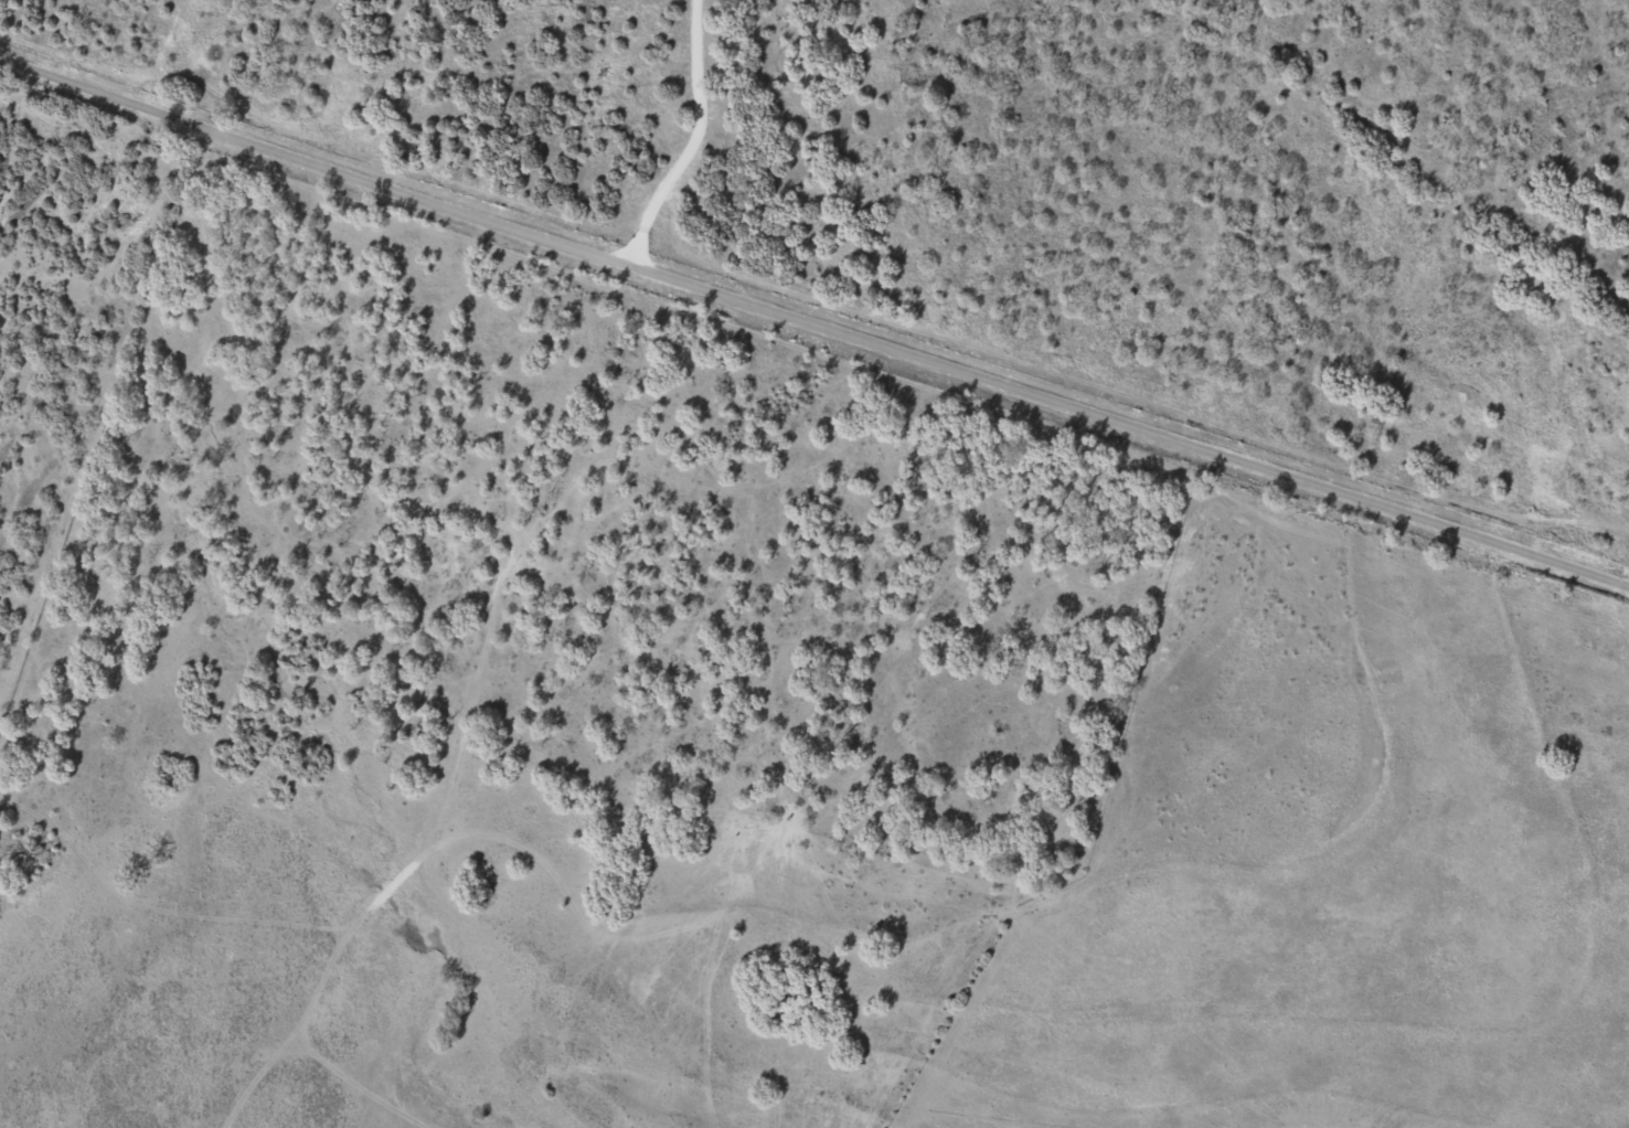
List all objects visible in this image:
road: (815, 321)

